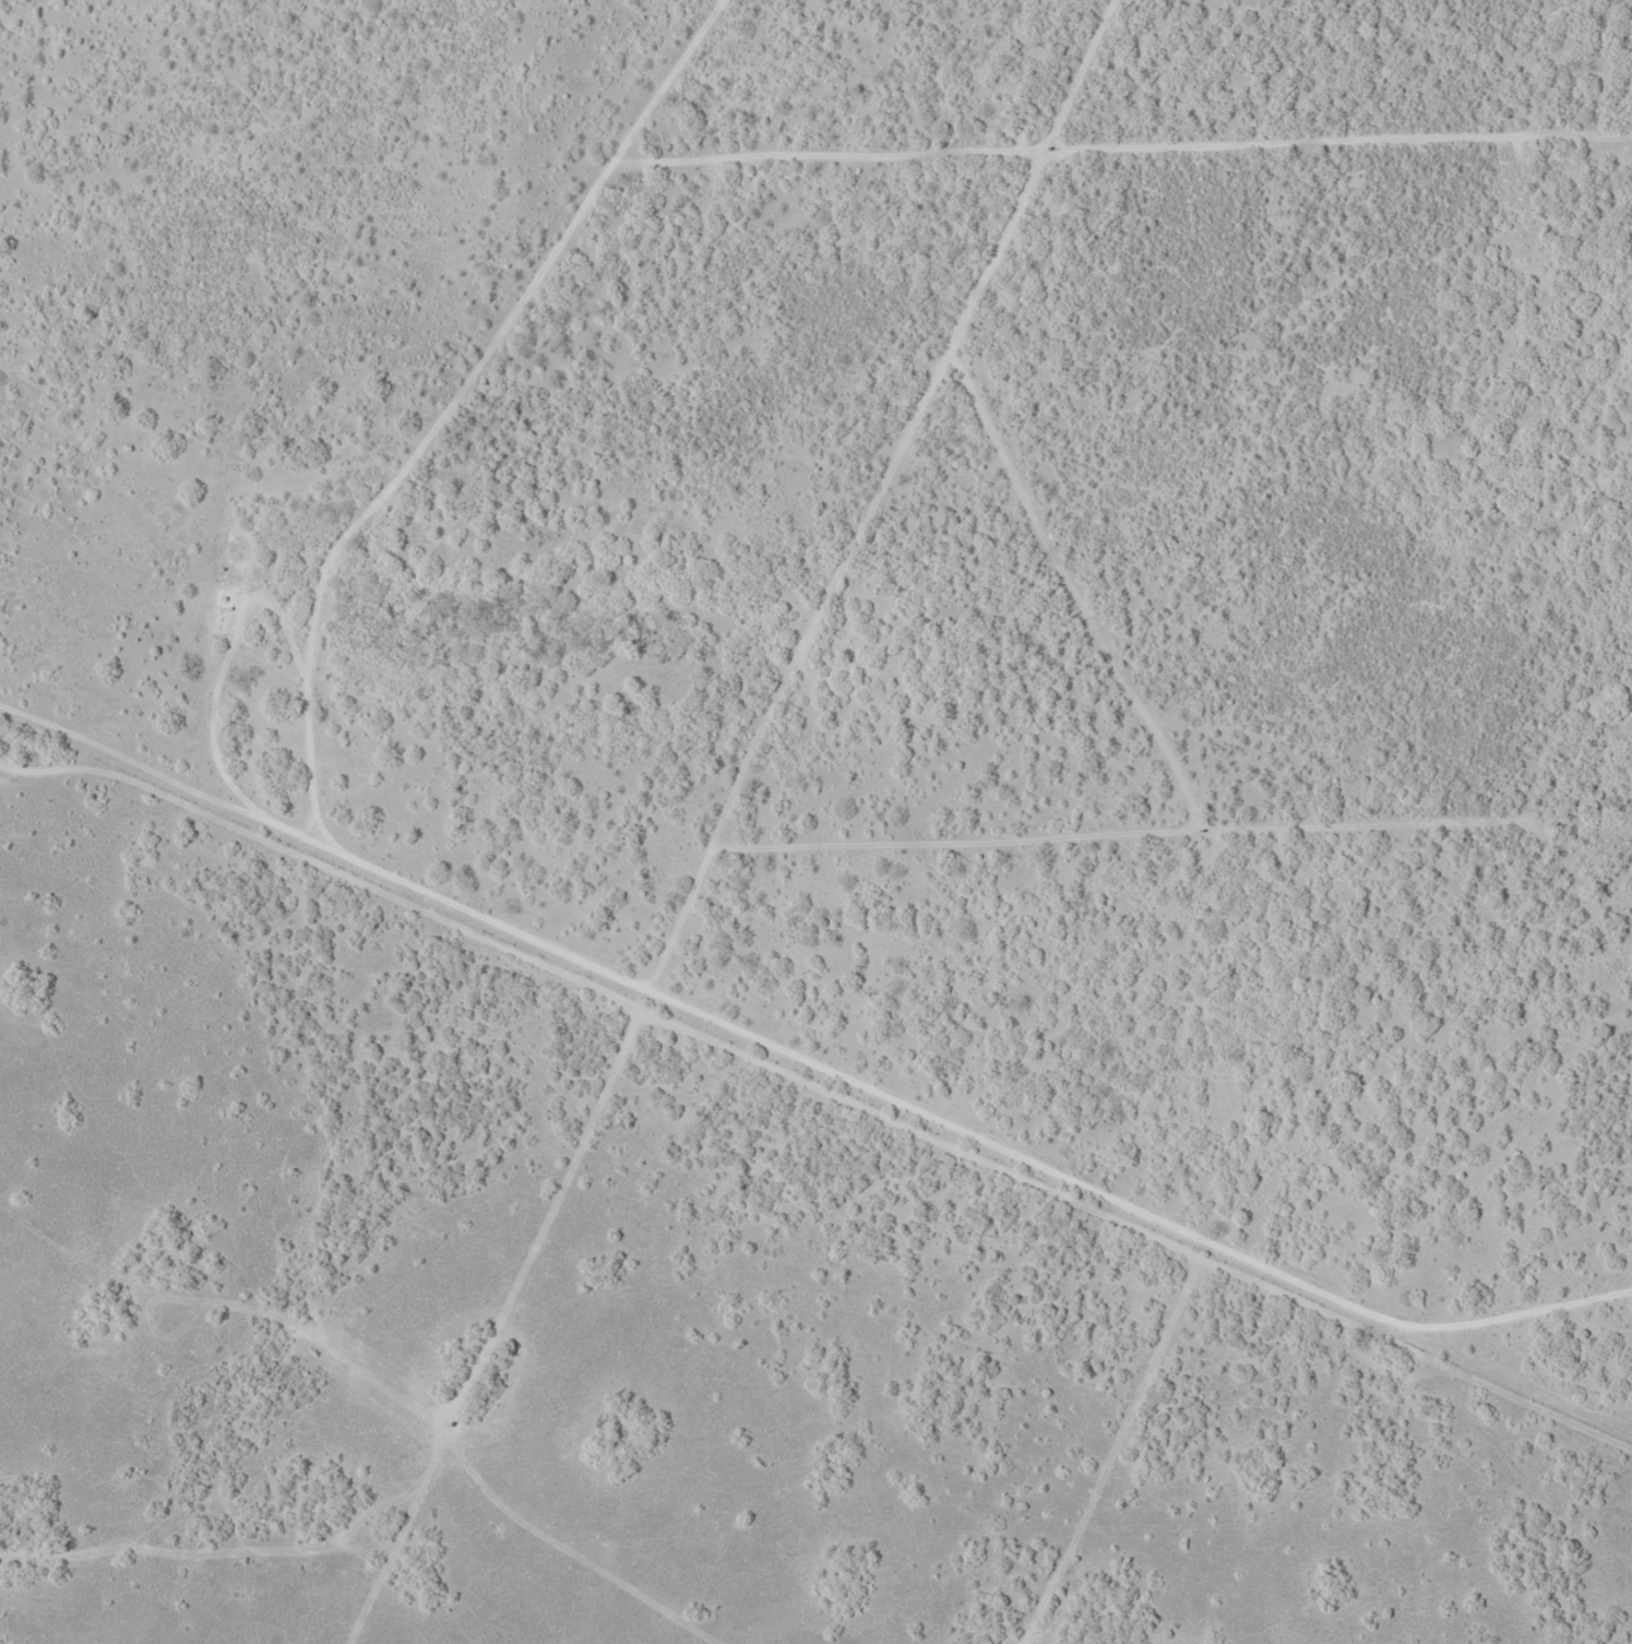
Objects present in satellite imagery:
road: (1596, 1070)

